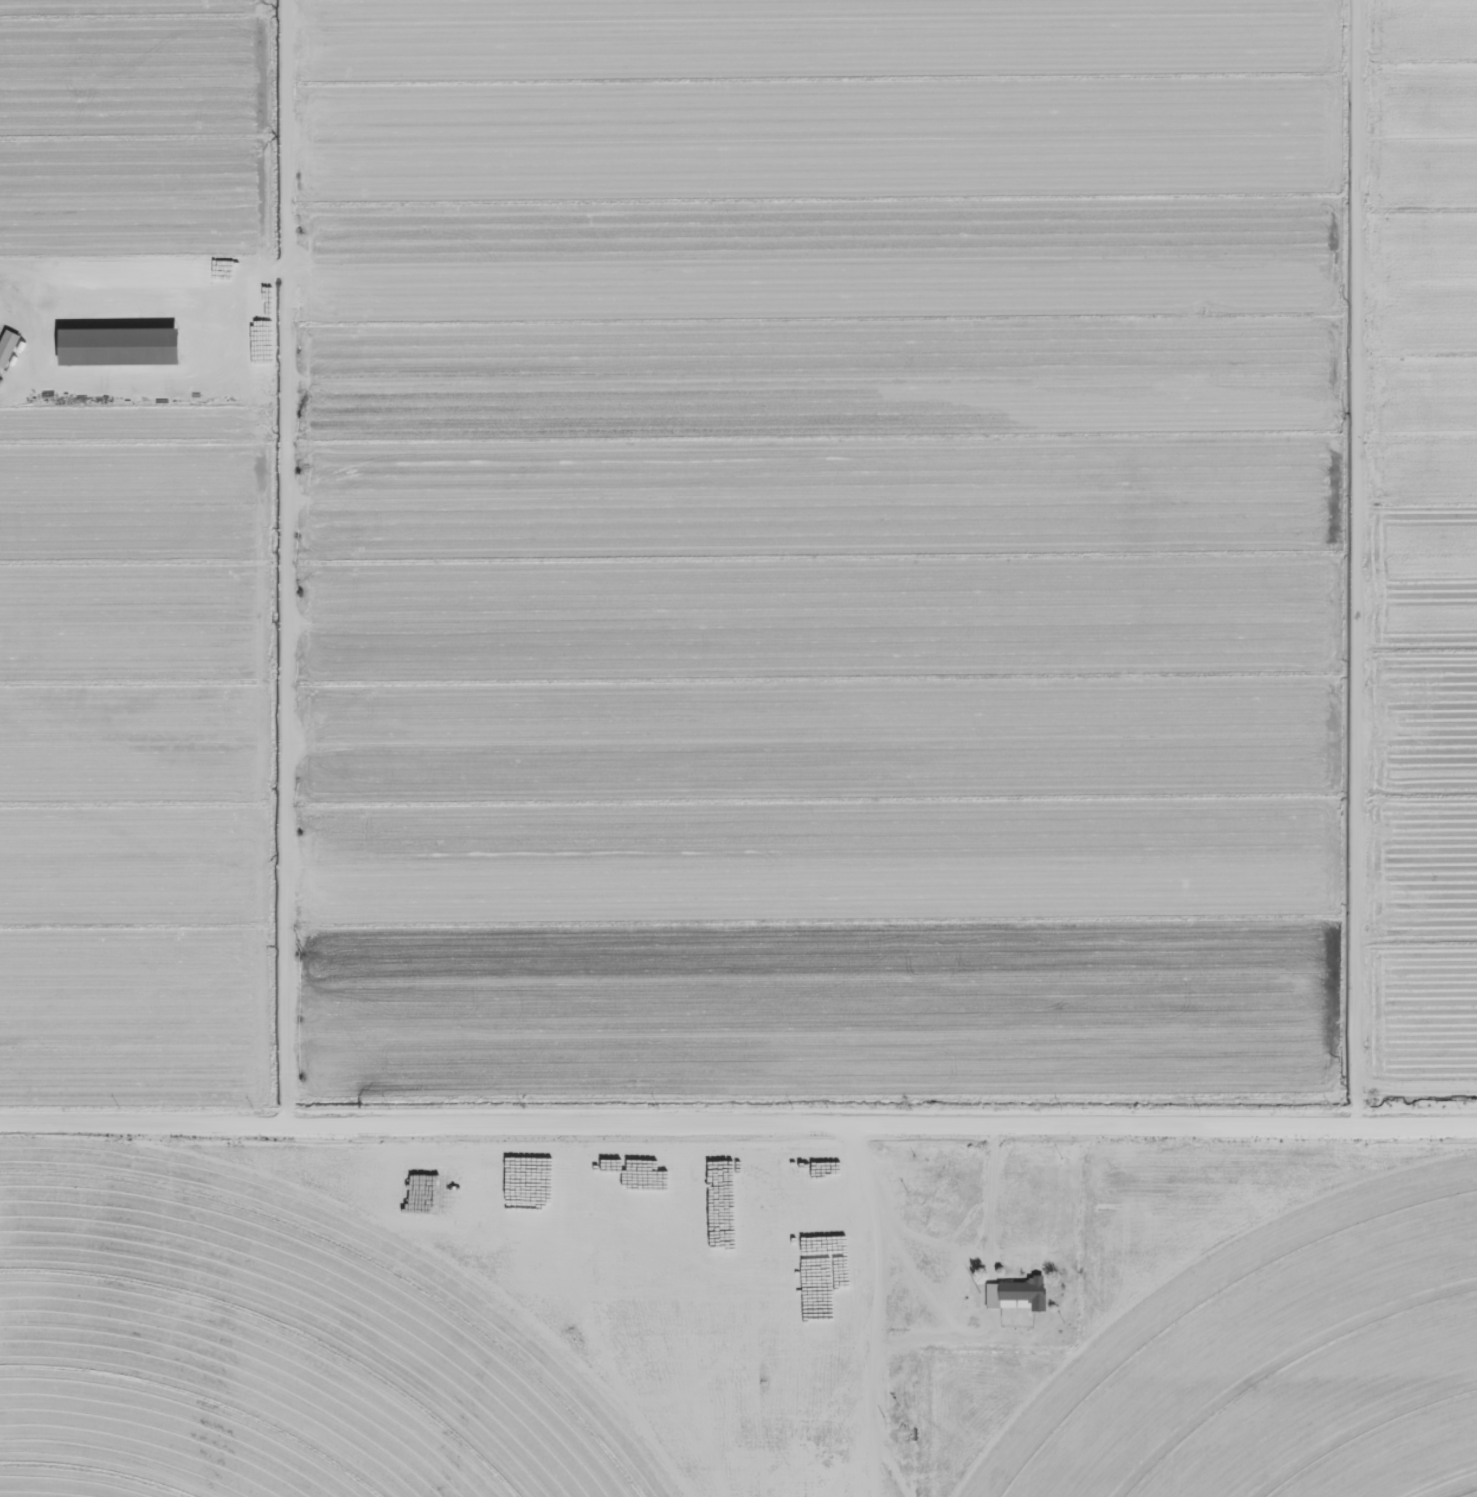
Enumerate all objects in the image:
road: (144, 279)
building: (114, 338)
building: (7, 340)
road: (1379, 547)
road: (288, 551)
road: (1434, 1094)
road: (1191, 1096)
road: (640, 1100)
road: (144, 1106)
building: (926, 1164)
building: (927, 1203)
building: (1016, 1294)
crop: (1276, 1357)
crop: (257, 1359)

